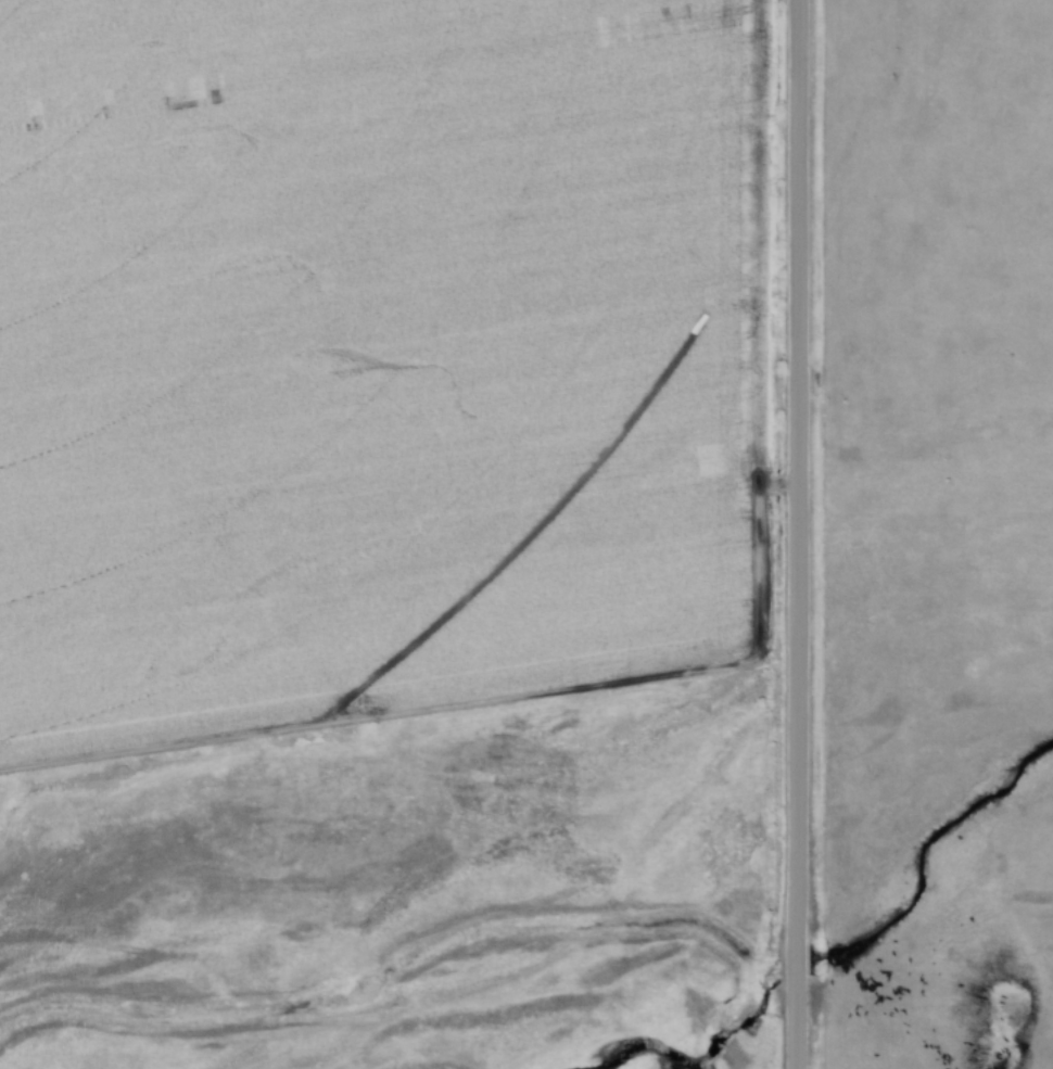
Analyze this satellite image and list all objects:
road: (799, 470)
road: (398, 703)
road: (797, 960)
road: (797, 1025)

